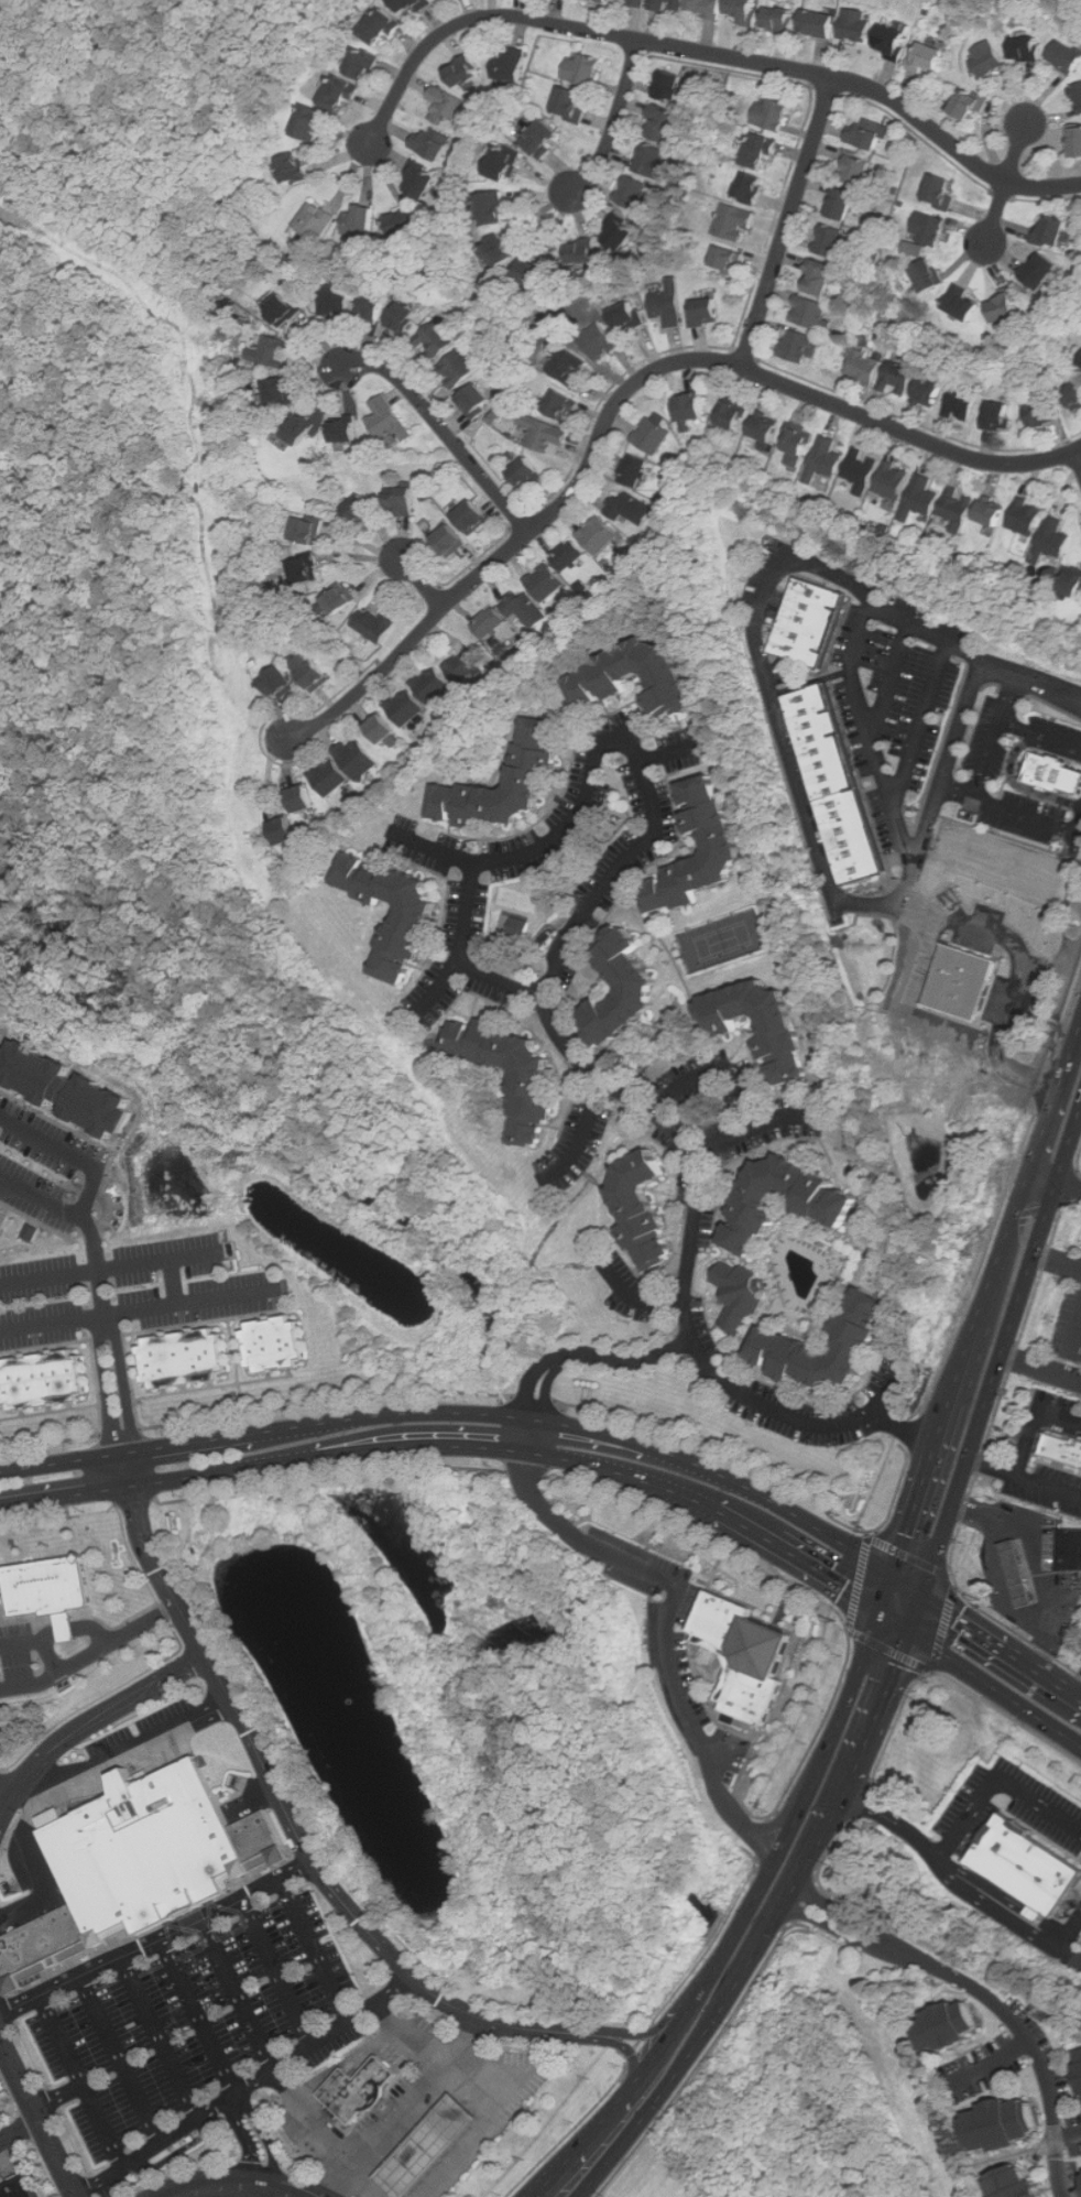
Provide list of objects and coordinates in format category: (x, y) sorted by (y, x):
building: (604, 0)
building: (640, 2)
building: (414, 4)
building: (670, 4)
building: (709, 6)
building: (747, 11)
building: (782, 18)
building: (821, 22)
building: (858, 24)
building: (383, 26)
building: (895, 41)
building: (1029, 48)
road: (708, 53)
building: (1068, 55)
building: (929, 56)
building: (989, 57)
building: (513, 63)
building: (367, 64)
building: (585, 68)
building: (467, 72)
building: (671, 86)
building: (1078, 93)
building: (342, 94)
building: (572, 102)
building: (972, 102)
building: (447, 106)
building: (773, 113)
road: (614, 120)
building: (313, 121)
building: (659, 122)
building: (870, 133)
building: (545, 137)
building: (434, 141)
building: (1077, 141)
building: (762, 151)
building: (653, 160)
building: (507, 162)
building: (298, 168)
building: (862, 170)
building: (423, 182)
road: (1006, 183)
building: (753, 187)
building: (943, 191)
building: (635, 194)
building: (845, 204)
building: (496, 208)
building: (317, 221)
building: (362, 221)
building: (736, 222)
road: (787, 224)
building: (405, 225)
building: (929, 228)
building: (1053, 232)
building: (623, 235)
building: (834, 242)
building: (914, 249)
building: (501, 252)
building: (585, 252)
building: (730, 259)
building: (1042, 270)
building: (536, 273)
building: (930, 275)
building: (823, 276)
building: (337, 301)
building: (963, 303)
building: (669, 304)
building: (373, 306)
building: (1006, 307)
building: (285, 308)
building: (708, 312)
building: (811, 313)
building: (629, 316)
building: (404, 319)
building: (439, 336)
building: (600, 341)
building: (800, 346)
building: (274, 352)
building: (566, 362)
building: (1080, 365)
building: (866, 367)
building: (459, 368)
building: (900, 377)
building: (281, 391)
building: (930, 392)
road: (624, 393)
building: (1074, 393)
building: (478, 401)
building: (962, 402)
building: (563, 404)
building: (692, 407)
building: (1041, 413)
building: (735, 415)
building: (1000, 415)
building: (389, 420)
building: (767, 428)
building: (347, 431)
building: (299, 432)
road: (444, 432)
building: (546, 433)
building: (654, 435)
building: (799, 446)
building: (826, 459)
road: (1077, 461)
building: (634, 470)
building: (863, 470)
building: (528, 474)
building: (894, 480)
building: (921, 498)
building: (402, 502)
building: (631, 508)
building: (958, 509)
building: (363, 510)
building: (993, 513)
building: (474, 516)
building: (1027, 516)
building: (309, 530)
building: (599, 535)
building: (1052, 540)
building: (451, 541)
building: (569, 556)
building: (306, 572)
road: (421, 581)
building: (547, 583)
building: (1072, 583)
building: (339, 601)
building: (526, 608)
building: (817, 614)
building: (491, 622)
building: (374, 624)
building: (306, 667)
building: (465, 667)
building: (604, 676)
road: (896, 678)
road: (1033, 679)
building: (282, 682)
building: (434, 685)
road: (1005, 695)
building: (407, 707)
road: (780, 721)
road: (927, 722)
building: (383, 728)
road: (1039, 731)
building: (833, 733)
road: (986, 755)
road: (668, 757)
building: (358, 758)
building: (1056, 766)
building: (531, 771)
road: (891, 775)
building: (330, 776)
road: (590, 780)
road: (959, 790)
building: (305, 798)
road: (1012, 806)
road: (1068, 824)
building: (287, 829)
building: (862, 829)
building: (724, 847)
road: (434, 860)
building: (417, 913)
building: (522, 928)
park: (724, 939)
road: (1028, 959)
building: (959, 982)
building: (641, 989)
building: (784, 1035)
building: (535, 1083)
road: (742, 1086)
building: (68, 1089)
road: (1055, 1100)
road: (783, 1117)
road: (578, 1131)
road: (1070, 1139)
road: (72, 1154)
road: (1078, 1162)
road: (1045, 1176)
road: (1069, 1185)
road: (1072, 1188)
building: (831, 1205)
road: (1019, 1205)
building: (1, 1207)
road: (110, 1210)
building: (645, 1210)
road: (83, 1221)
building: (31, 1232)
road: (691, 1240)
road: (1058, 1258)
road: (106, 1269)
road: (1040, 1274)
road: (175, 1280)
road: (994, 1280)
building: (741, 1296)
road: (134, 1307)
road: (1080, 1341)
building: (274, 1344)
building: (785, 1347)
road: (575, 1355)
road: (968, 1355)
building: (184, 1357)
road: (1040, 1368)
building: (43, 1379)
road: (112, 1383)
road: (991, 1384)
road: (888, 1392)
road: (463, 1412)
road: (947, 1415)
road: (1035, 1421)
road: (906, 1431)
building: (1062, 1448)
road: (422, 1449)
road: (123, 1471)
road: (618, 1472)
road: (221, 1475)
road: (1024, 1475)
road: (63, 1499)
road: (135, 1502)
road: (915, 1508)
road: (59, 1518)
road: (739, 1524)
building: (1070, 1547)
road: (1036, 1559)
road: (767, 1571)
building: (1018, 1573)
traffic signals: (897, 1575)
road: (829, 1577)
road: (911, 1583)
building: (52, 1586)
road: (1004, 1586)
traffic signals: (927, 1590)
road: (922, 1610)
traffic signals: (885, 1611)
road: (902, 1621)
road: (667, 1624)
road: (70, 1628)
traffic signals: (919, 1631)
road: (96, 1632)
road: (51, 1634)
road: (20, 1642)
road: (1004, 1642)
building: (752, 1651)
road: (50, 1655)
road: (90, 1655)
road: (156, 1664)
road: (1000, 1686)
road: (888, 1701)
road: (92, 1725)
road: (123, 1752)
road: (1, 1773)
road: (6, 1793)
road: (842, 1797)
road: (967, 1821)
road: (296, 1829)
building: (261, 1837)
building: (148, 1851)
building: (1030, 1866)
road: (750, 1906)
road: (784, 1906)
building: (1036, 1913)
road: (1008, 1916)
road: (157, 1942)
building: (43, 1943)
road: (316, 1951)
road: (1073, 1960)
road: (279, 1973)
road: (989, 1995)
road: (240, 1997)
road: (199, 2020)
building: (952, 2025)
road: (648, 2034)
parking lot: (197, 2037)
road: (161, 2040)
road: (405, 2043)
road: (3, 2044)
road: (624, 2049)
building: (1080, 2052)
road: (122, 2060)
road: (991, 2060)
building: (1079, 2074)
road: (81, 2082)
road: (249, 2090)
building: (361, 2090)
road: (657, 2096)
parking lot: (2, 2097)
road: (61, 2098)
road: (408, 2109)
road: (40, 2112)
road: (315, 2121)
building: (1006, 2124)
road: (484, 2129)
road: (22, 2133)
road: (263, 2144)
building: (430, 2147)
parking lot: (1, 2149)
building: (1018, 2182)
road: (365, 2184)
road: (216, 2185)
building: (22, 2188)
road: (285, 2190)
road: (264, 2193)

